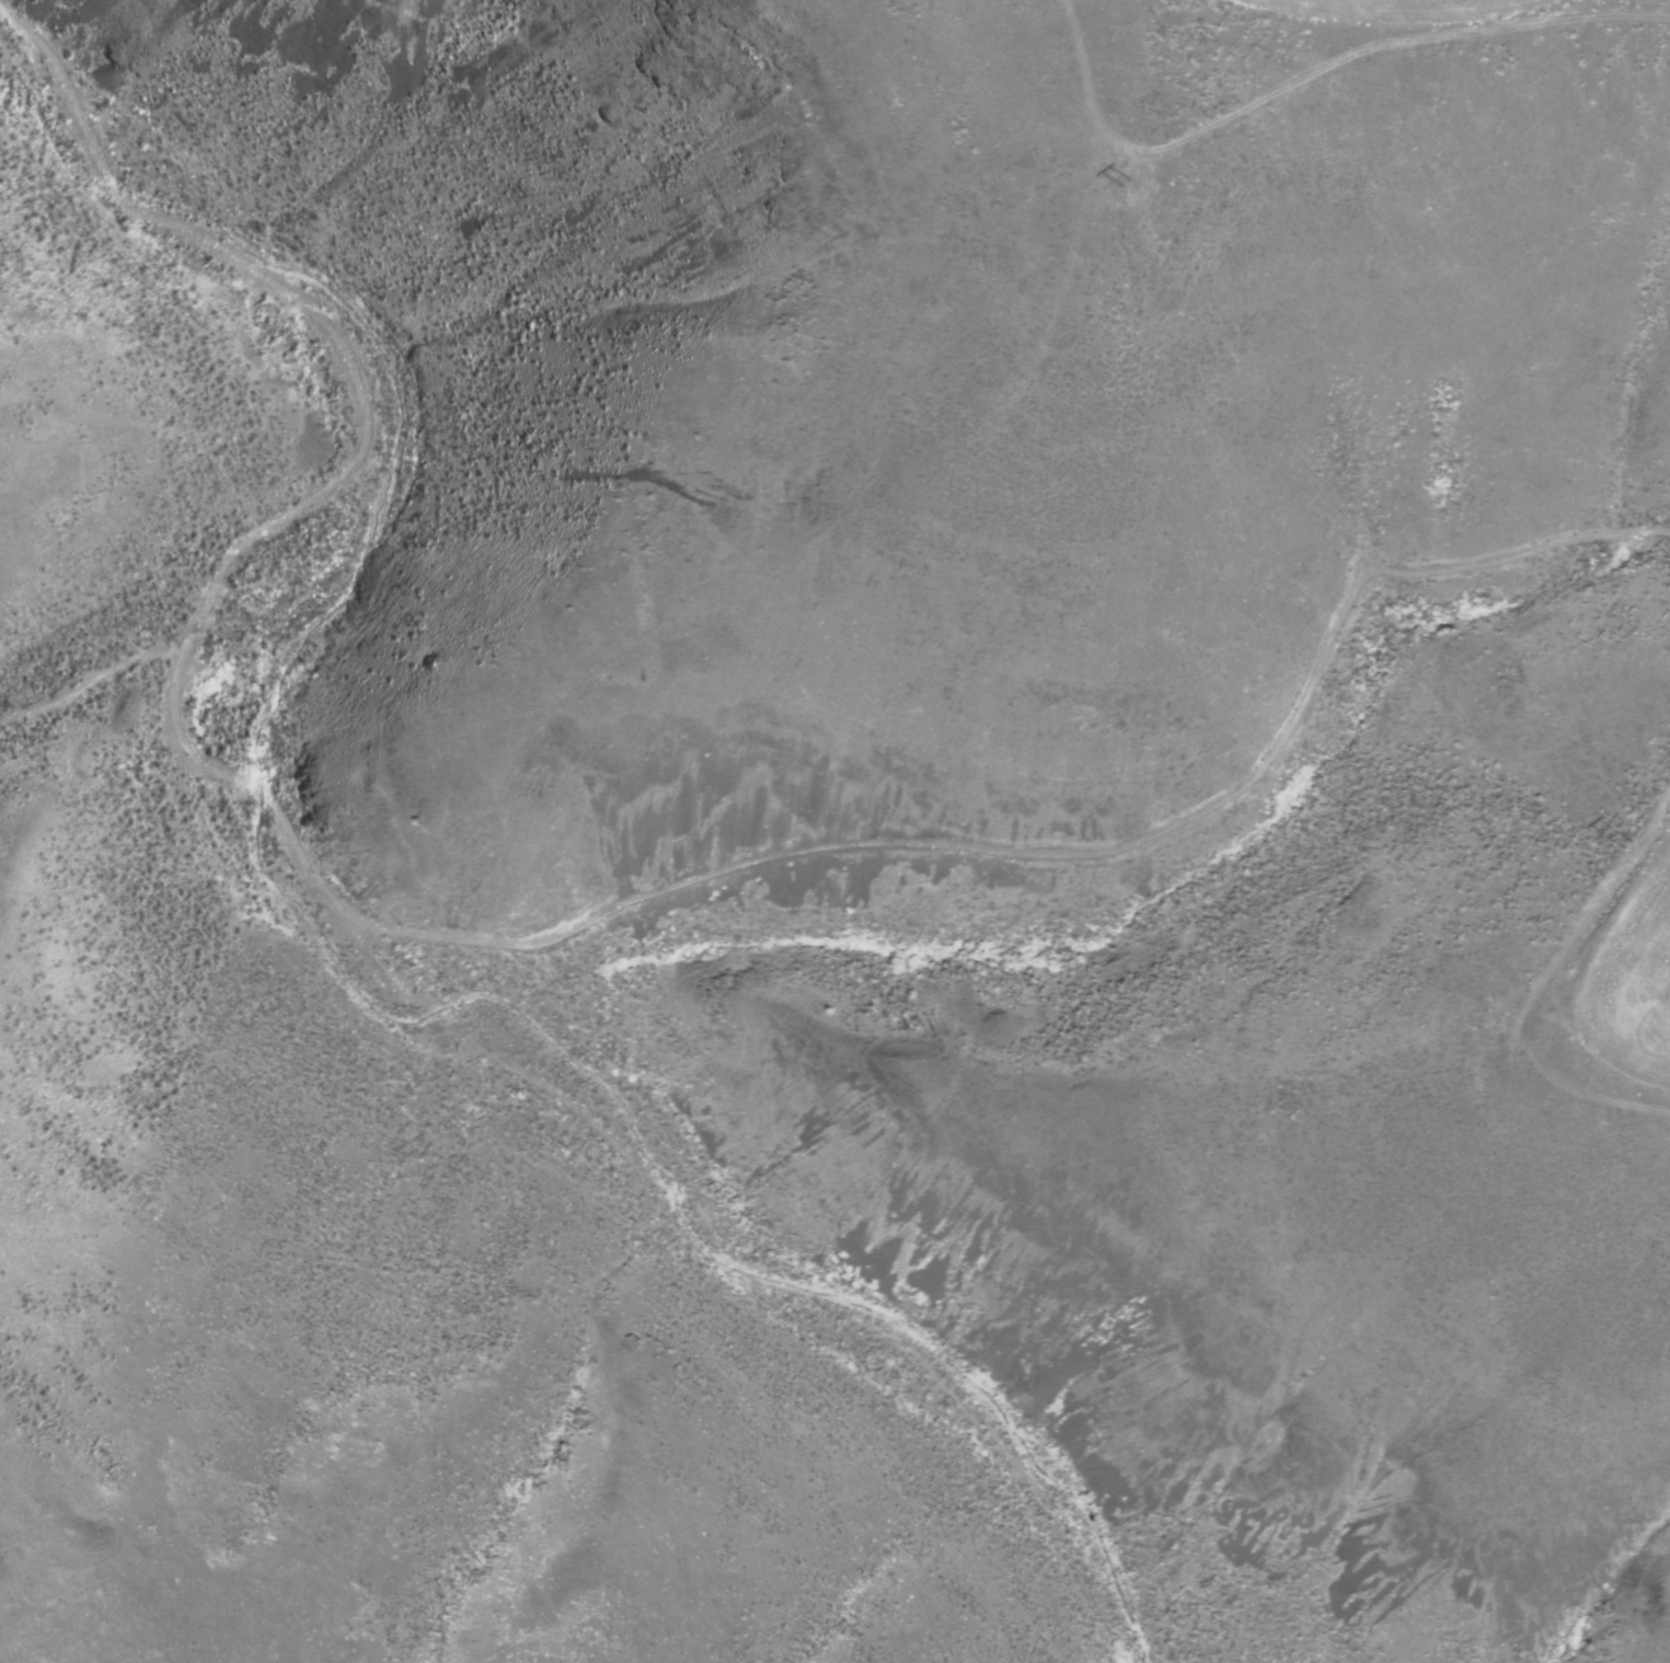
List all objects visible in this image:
power tower: (1132, 183)
power tower: (1517, 632)

